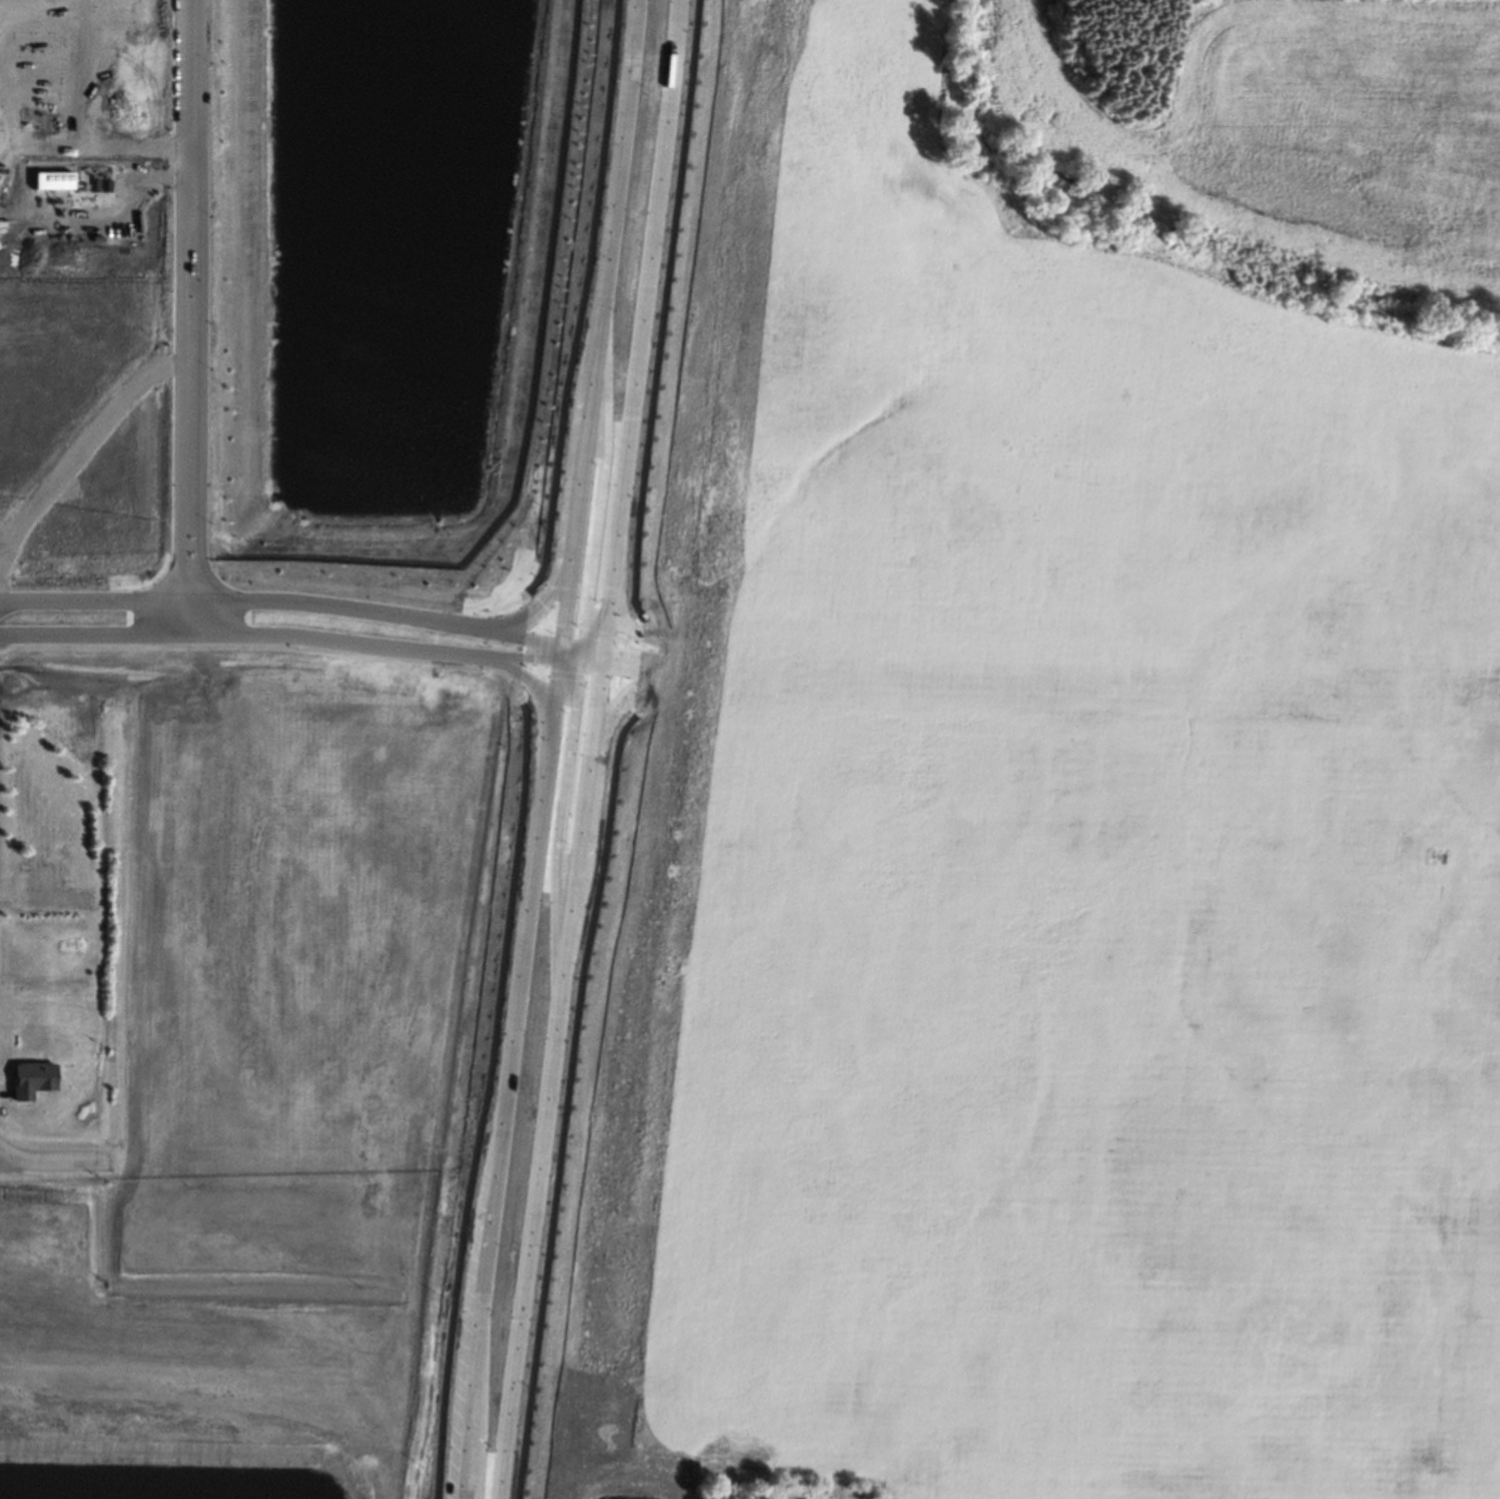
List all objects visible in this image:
road: (81, 115)
road: (188, 298)
road: (582, 298)
road: (603, 317)
road: (639, 321)
road: (599, 491)
road: (567, 501)
road: (7, 600)
road: (283, 600)
road: (189, 615)
road: (281, 636)
road: (575, 636)
road: (596, 640)
road: (577, 647)
road: (563, 648)
road: (590, 657)
road: (607, 657)
road: (571, 664)
road: (594, 668)
road: (524, 678)
road: (607, 727)
road: (618, 746)
road: (559, 831)
building: (86, 960)
road: (492, 1042)
building: (30, 1078)
road: (505, 1080)
road: (546, 1084)
road: (5, 1091)
road: (8, 1154)
road: (51, 1159)

